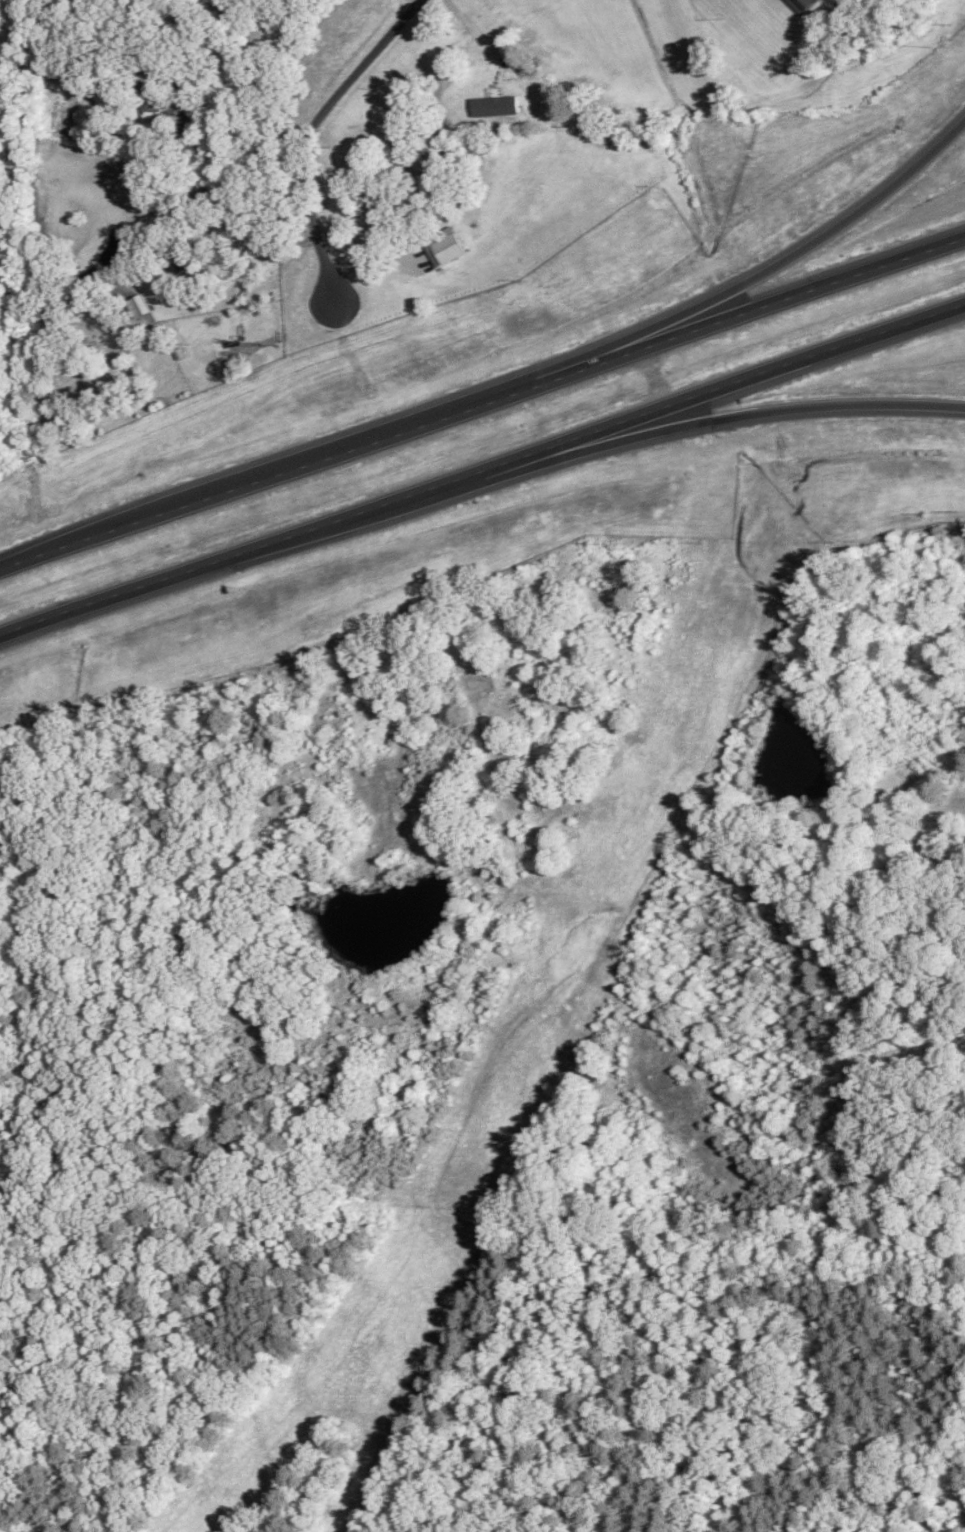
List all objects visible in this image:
building: (801, 5)
road: (474, 30)
building: (494, 104)
road: (319, 153)
road: (806, 239)
building: (444, 245)
building: (139, 305)
road: (482, 396)
road: (757, 414)
road: (483, 465)

